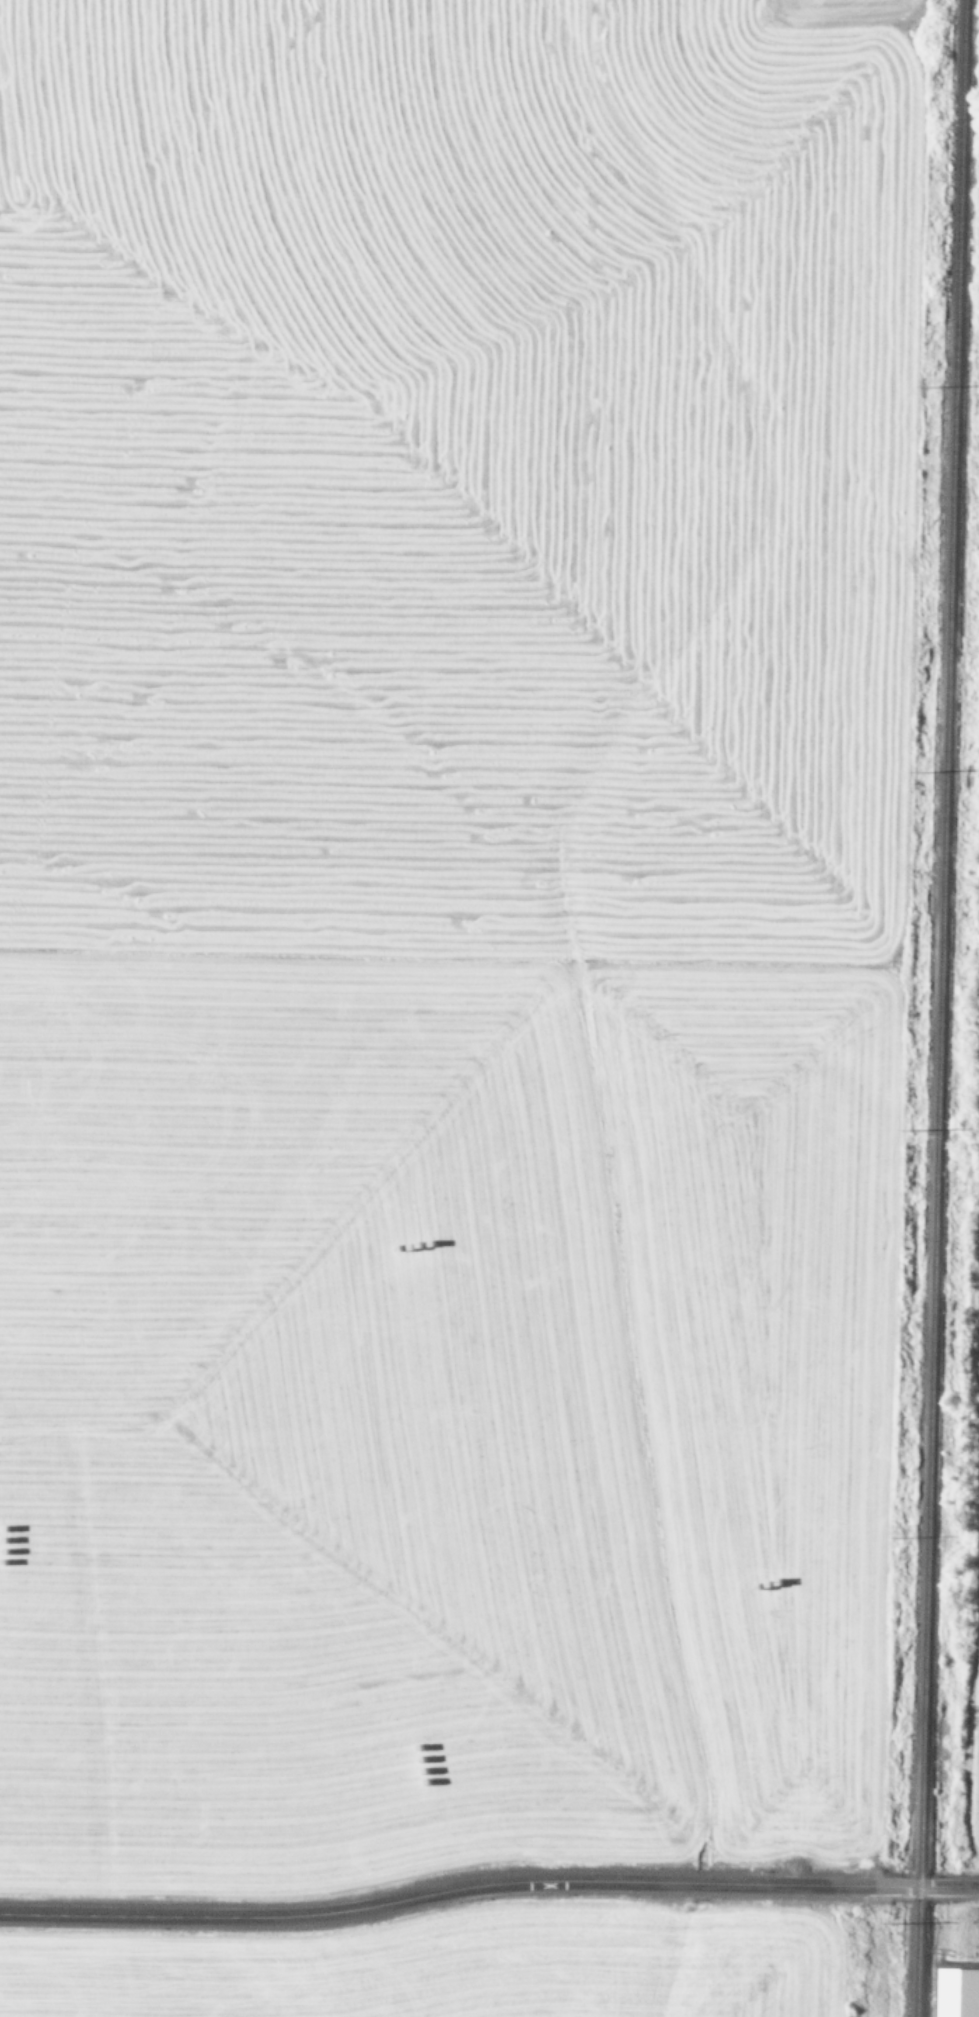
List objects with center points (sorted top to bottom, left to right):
crop: (448, 929)
railway: (939, 1008)
crop: (969, 1441)
road: (488, 1887)
crop: (962, 1966)
crop: (477, 1969)

